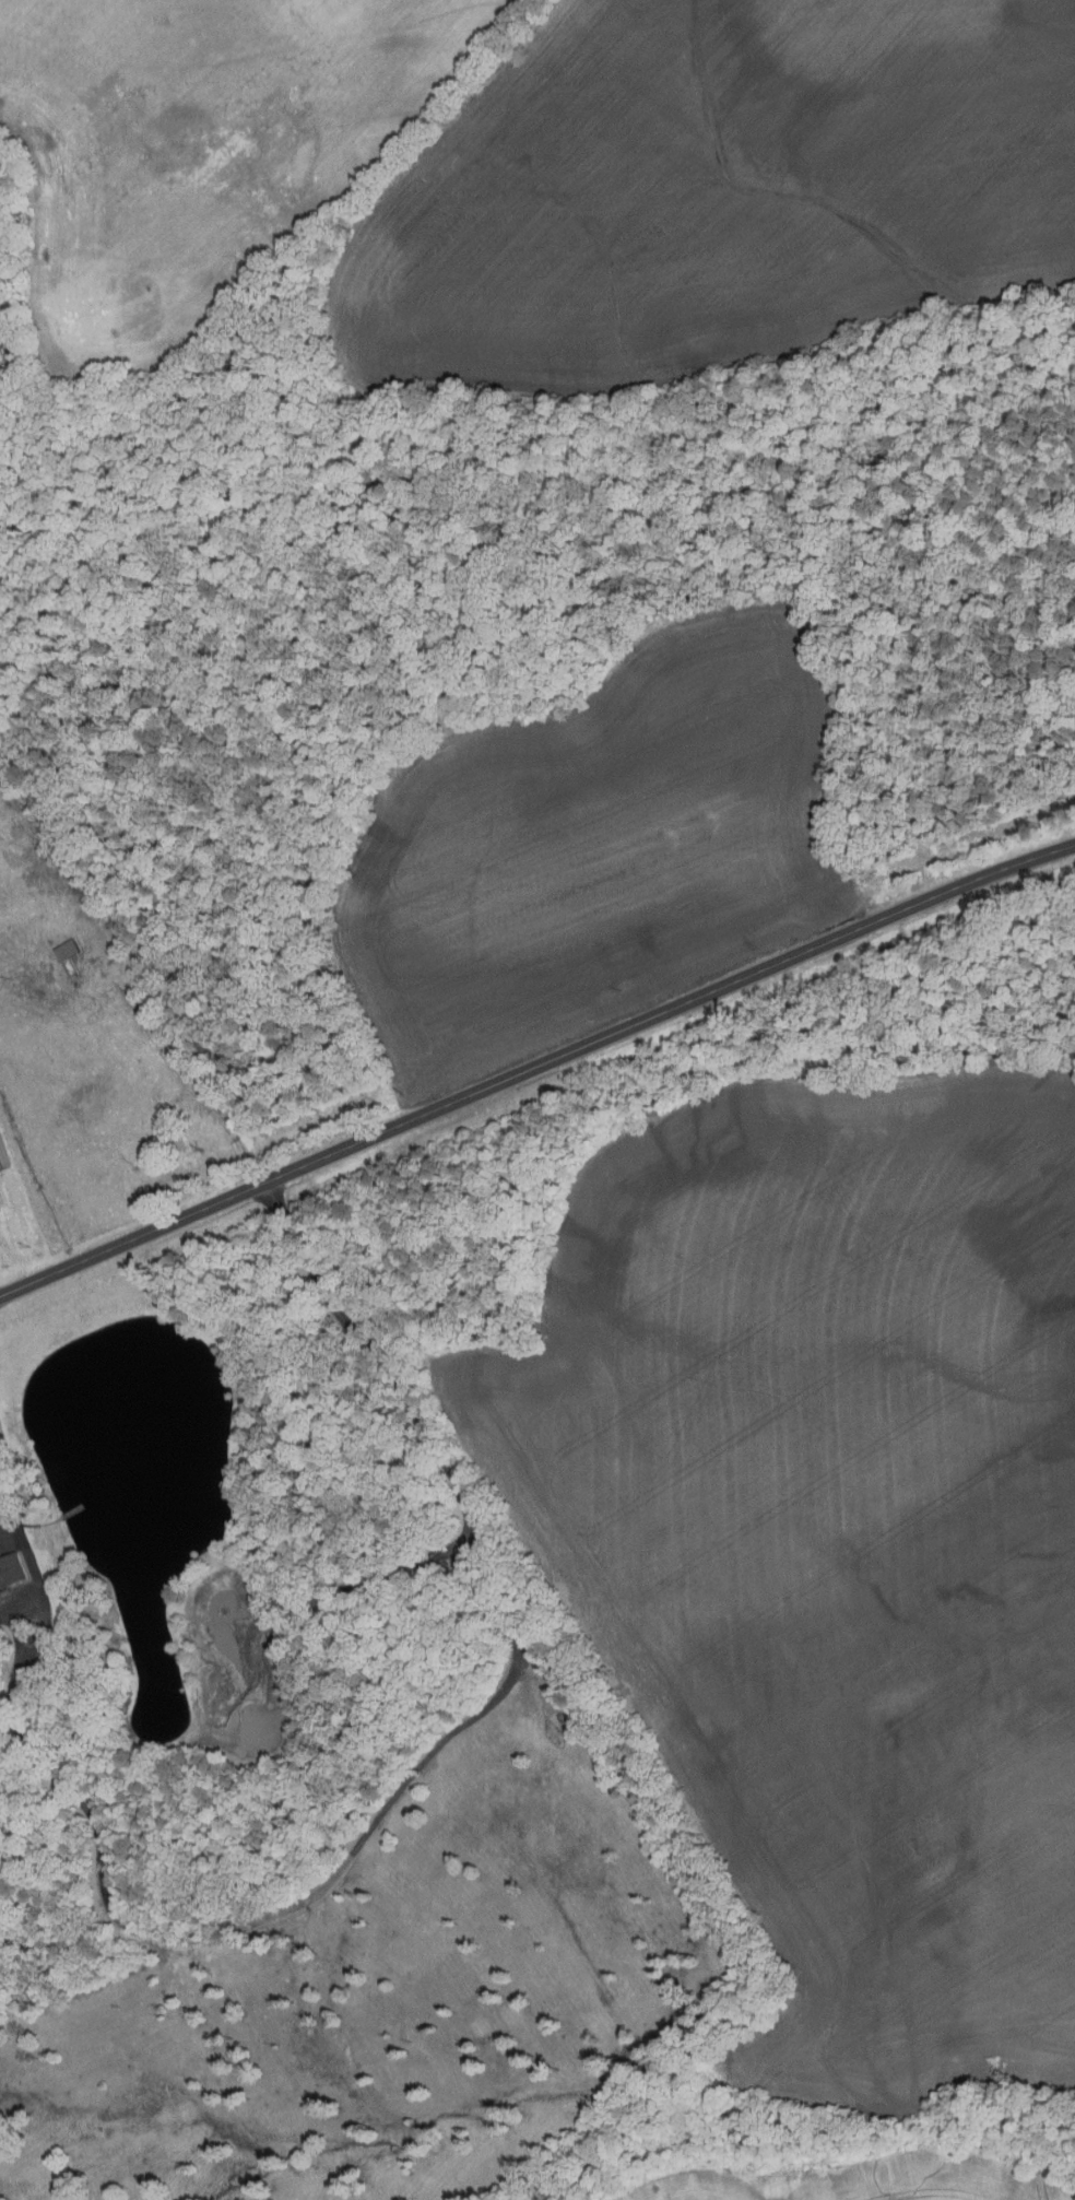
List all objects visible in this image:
crop: (200, 146)
crop: (710, 192)
crop: (599, 846)
building: (69, 950)
road: (535, 1066)
road: (8, 1477)
crop: (832, 1540)
building: (12, 1570)
road: (412, 1770)
crop: (861, 2178)

